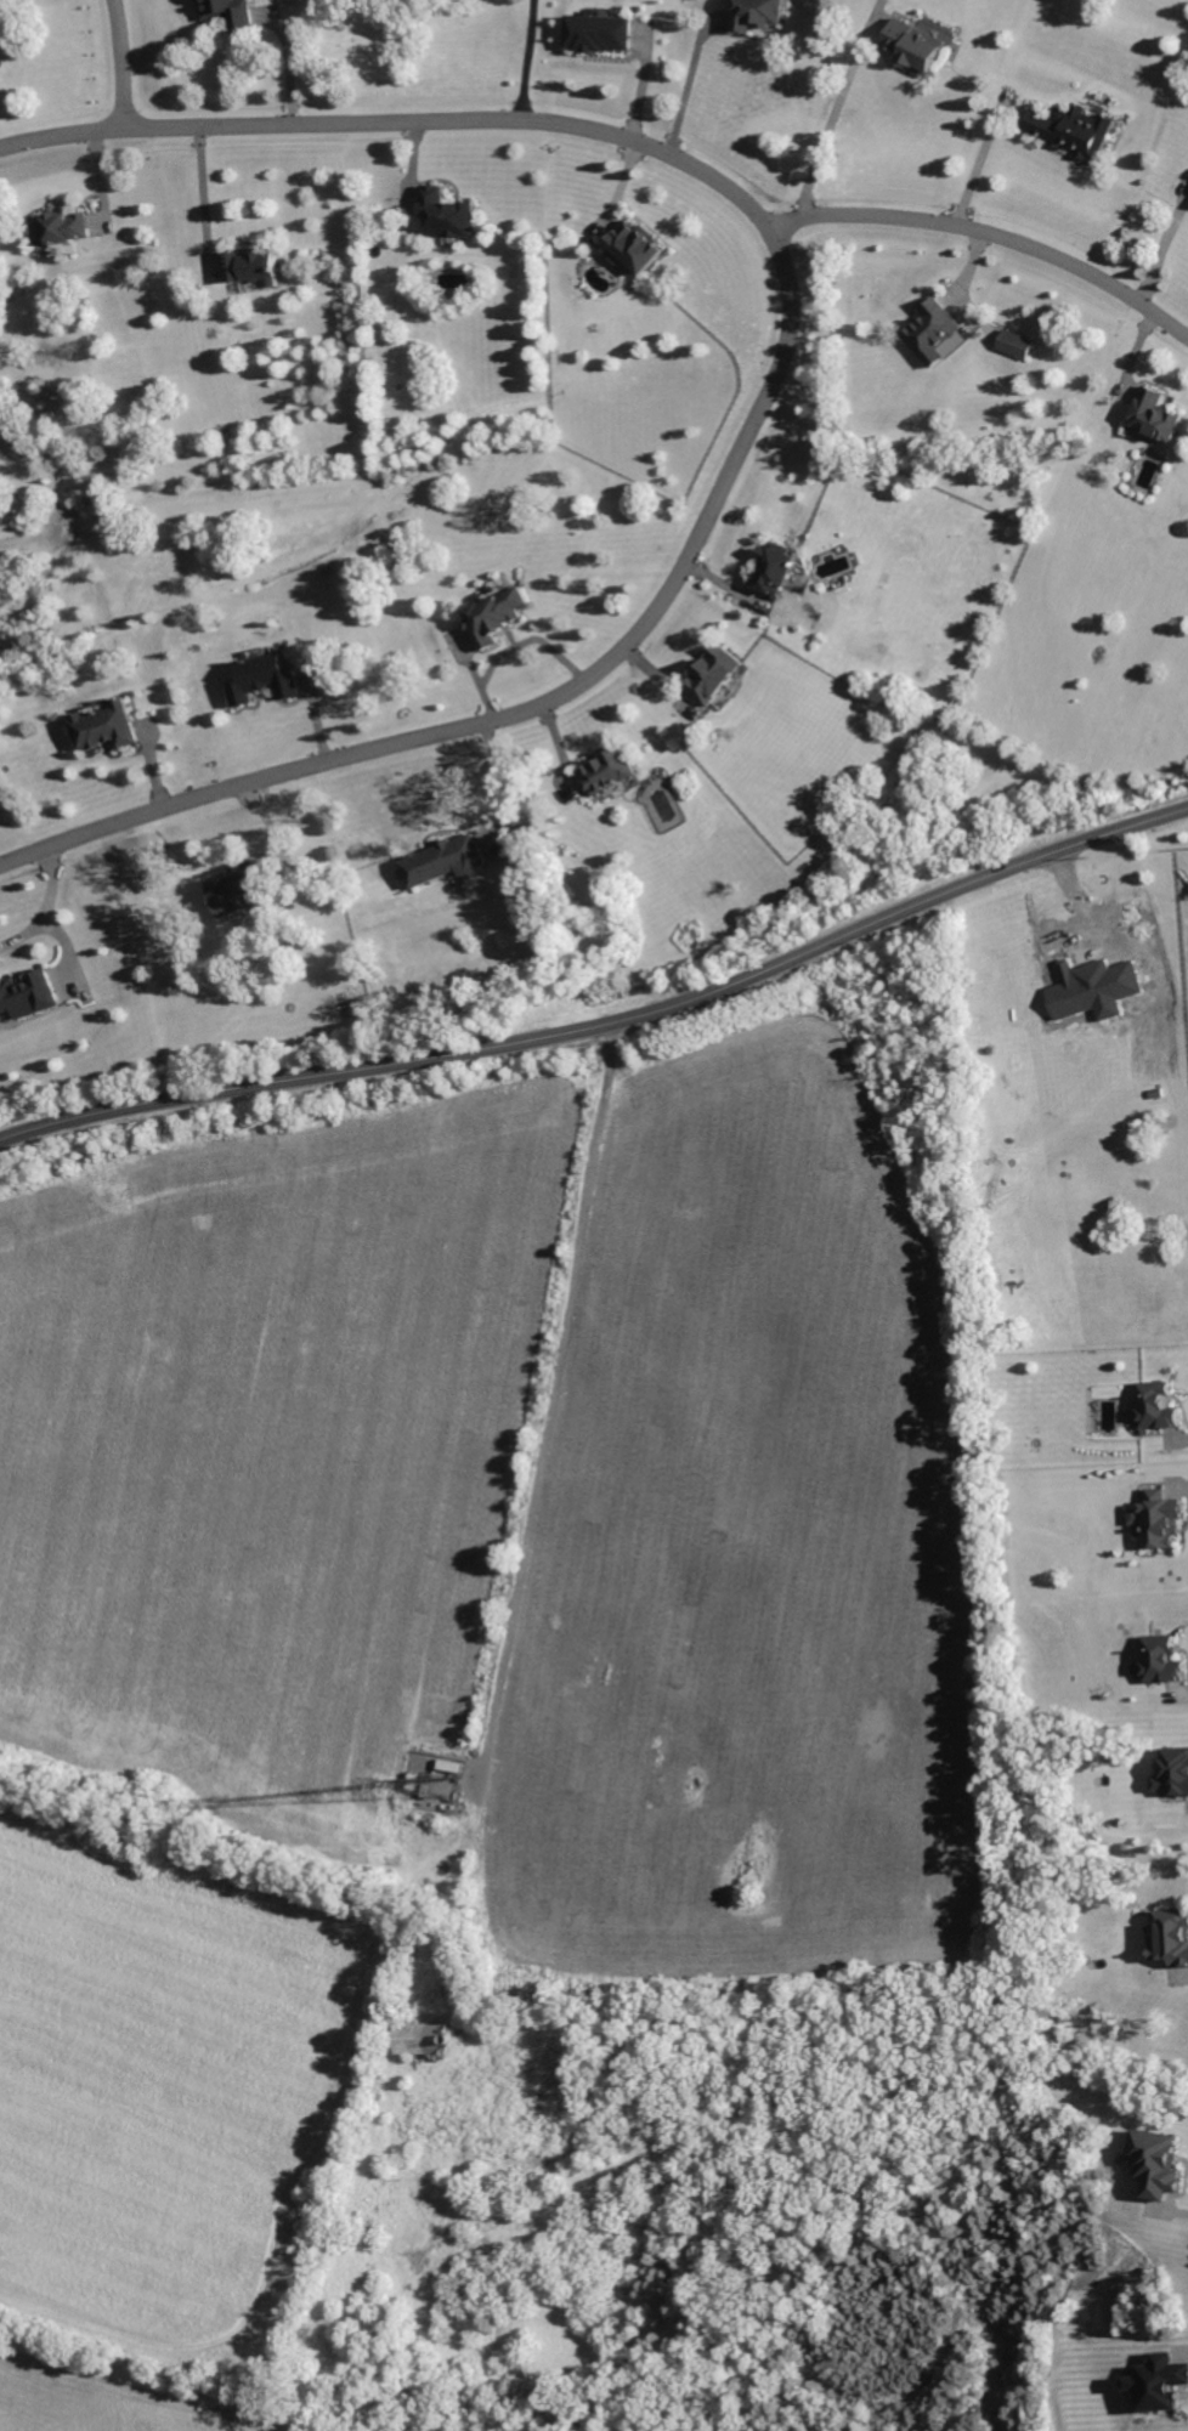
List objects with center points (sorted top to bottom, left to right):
building: (228, 11)
building: (758, 13)
building: (599, 33)
building: (915, 47)
road: (528, 59)
road: (121, 62)
road: (686, 85)
road: (836, 112)
building: (1073, 129)
road: (974, 161)
road: (197, 193)
building: (448, 214)
building: (60, 227)
road: (986, 229)
road: (1161, 237)
building: (634, 246)
building: (249, 265)
building: (934, 334)
building: (1014, 345)
road: (770, 387)
building: (1154, 415)
building: (775, 569)
building: (494, 617)
road: (507, 648)
building: (715, 674)
building: (264, 679)
building: (107, 726)
building: (606, 771)
building: (445, 861)
building: (241, 889)
road: (43, 907)
building: (1082, 993)
building: (26, 994)
road: (606, 1021)
road: (550, 1401)
building: (1156, 1407)
road: (1171, 1436)
building: (1159, 1517)
building: (1161, 1659)
building: (1172, 1772)
building: (442, 1786)
building: (1170, 1937)
building: (420, 2039)
building: (1154, 2161)
building: (1158, 2381)

